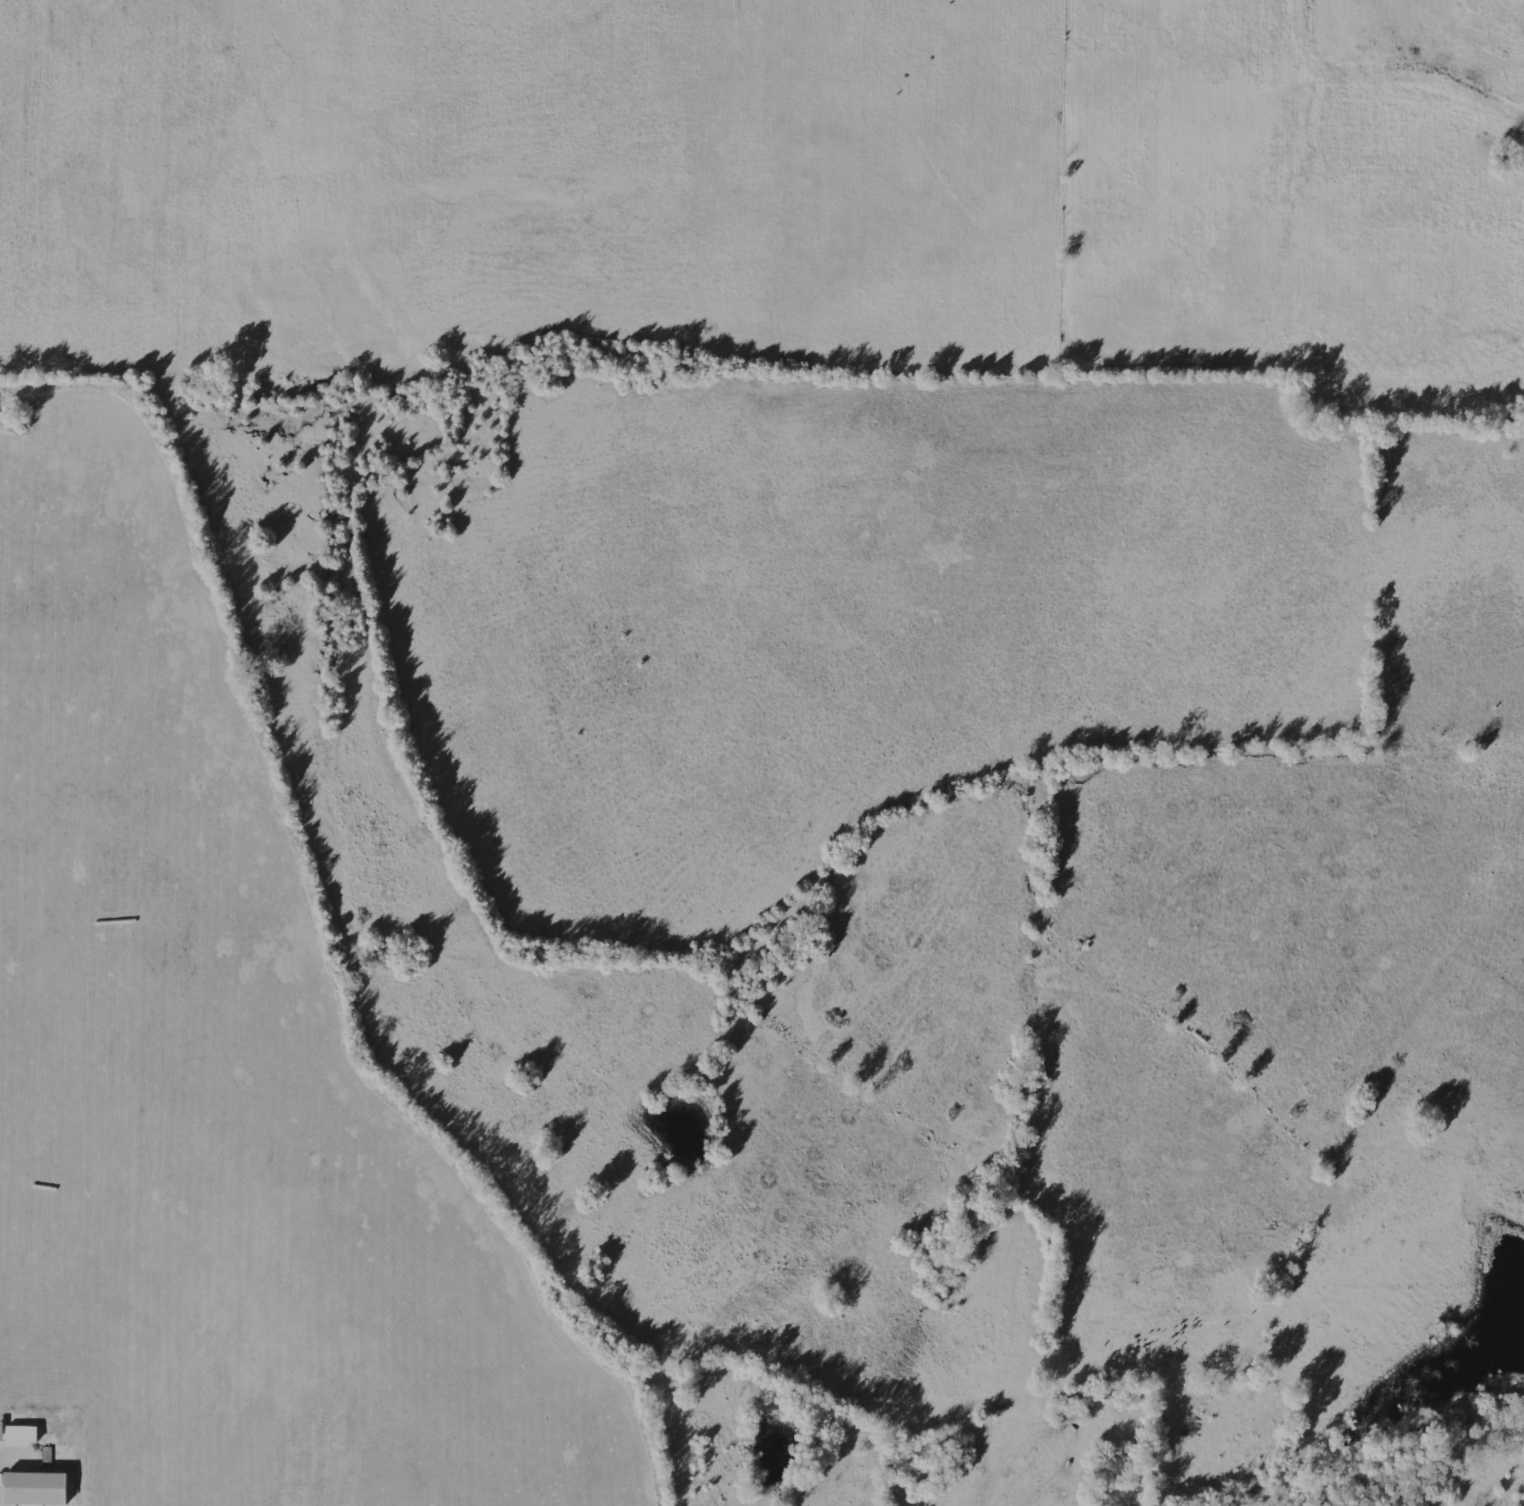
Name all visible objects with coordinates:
building: (23, 1434)
building: (35, 1489)

